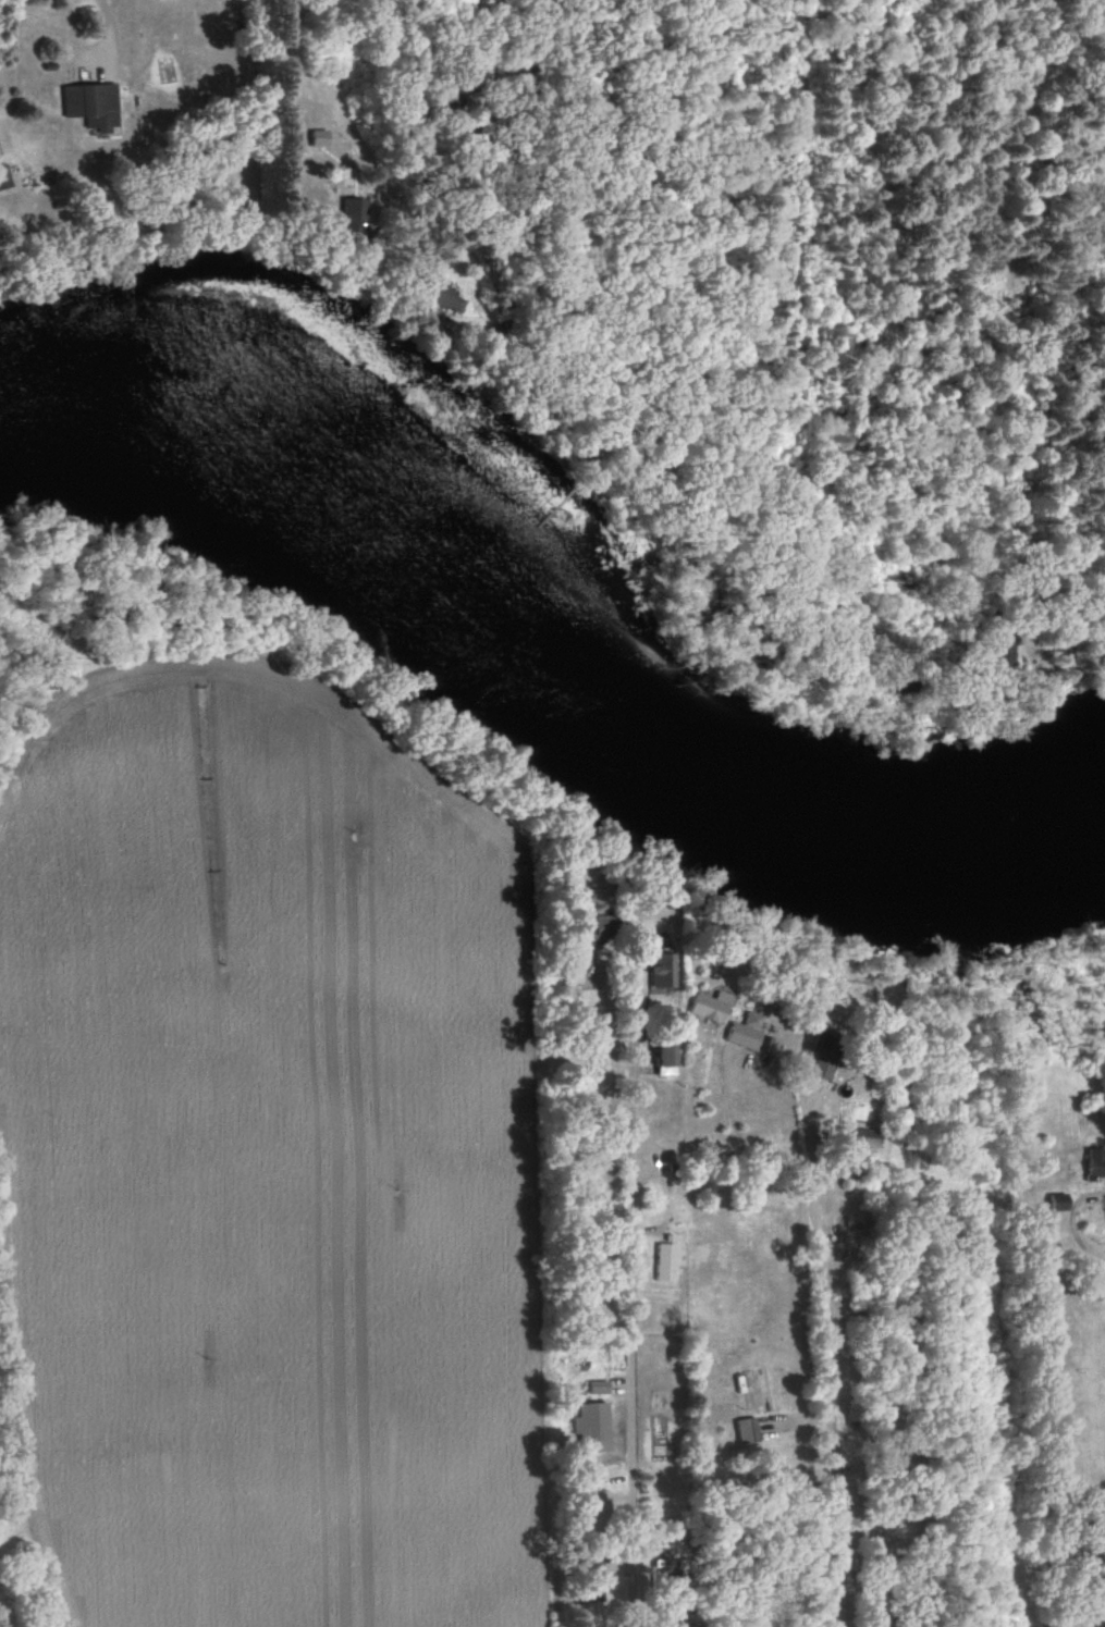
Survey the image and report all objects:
road: (108, 24)
road: (256, 93)
building: (456, 94)
building: (90, 106)
road: (517, 159)
building: (353, 217)
building: (442, 298)
building: (1005, 652)
river: (536, 657)
building: (602, 933)
building: (747, 1032)
building: (666, 1058)
road: (735, 1133)
building: (864, 1138)
building: (1058, 1201)
road: (1075, 1221)
building: (665, 1262)
road: (628, 1341)
road: (807, 1360)
building: (598, 1388)
building: (758, 1389)
building: (591, 1427)
building: (662, 1568)
building: (590, 1570)

